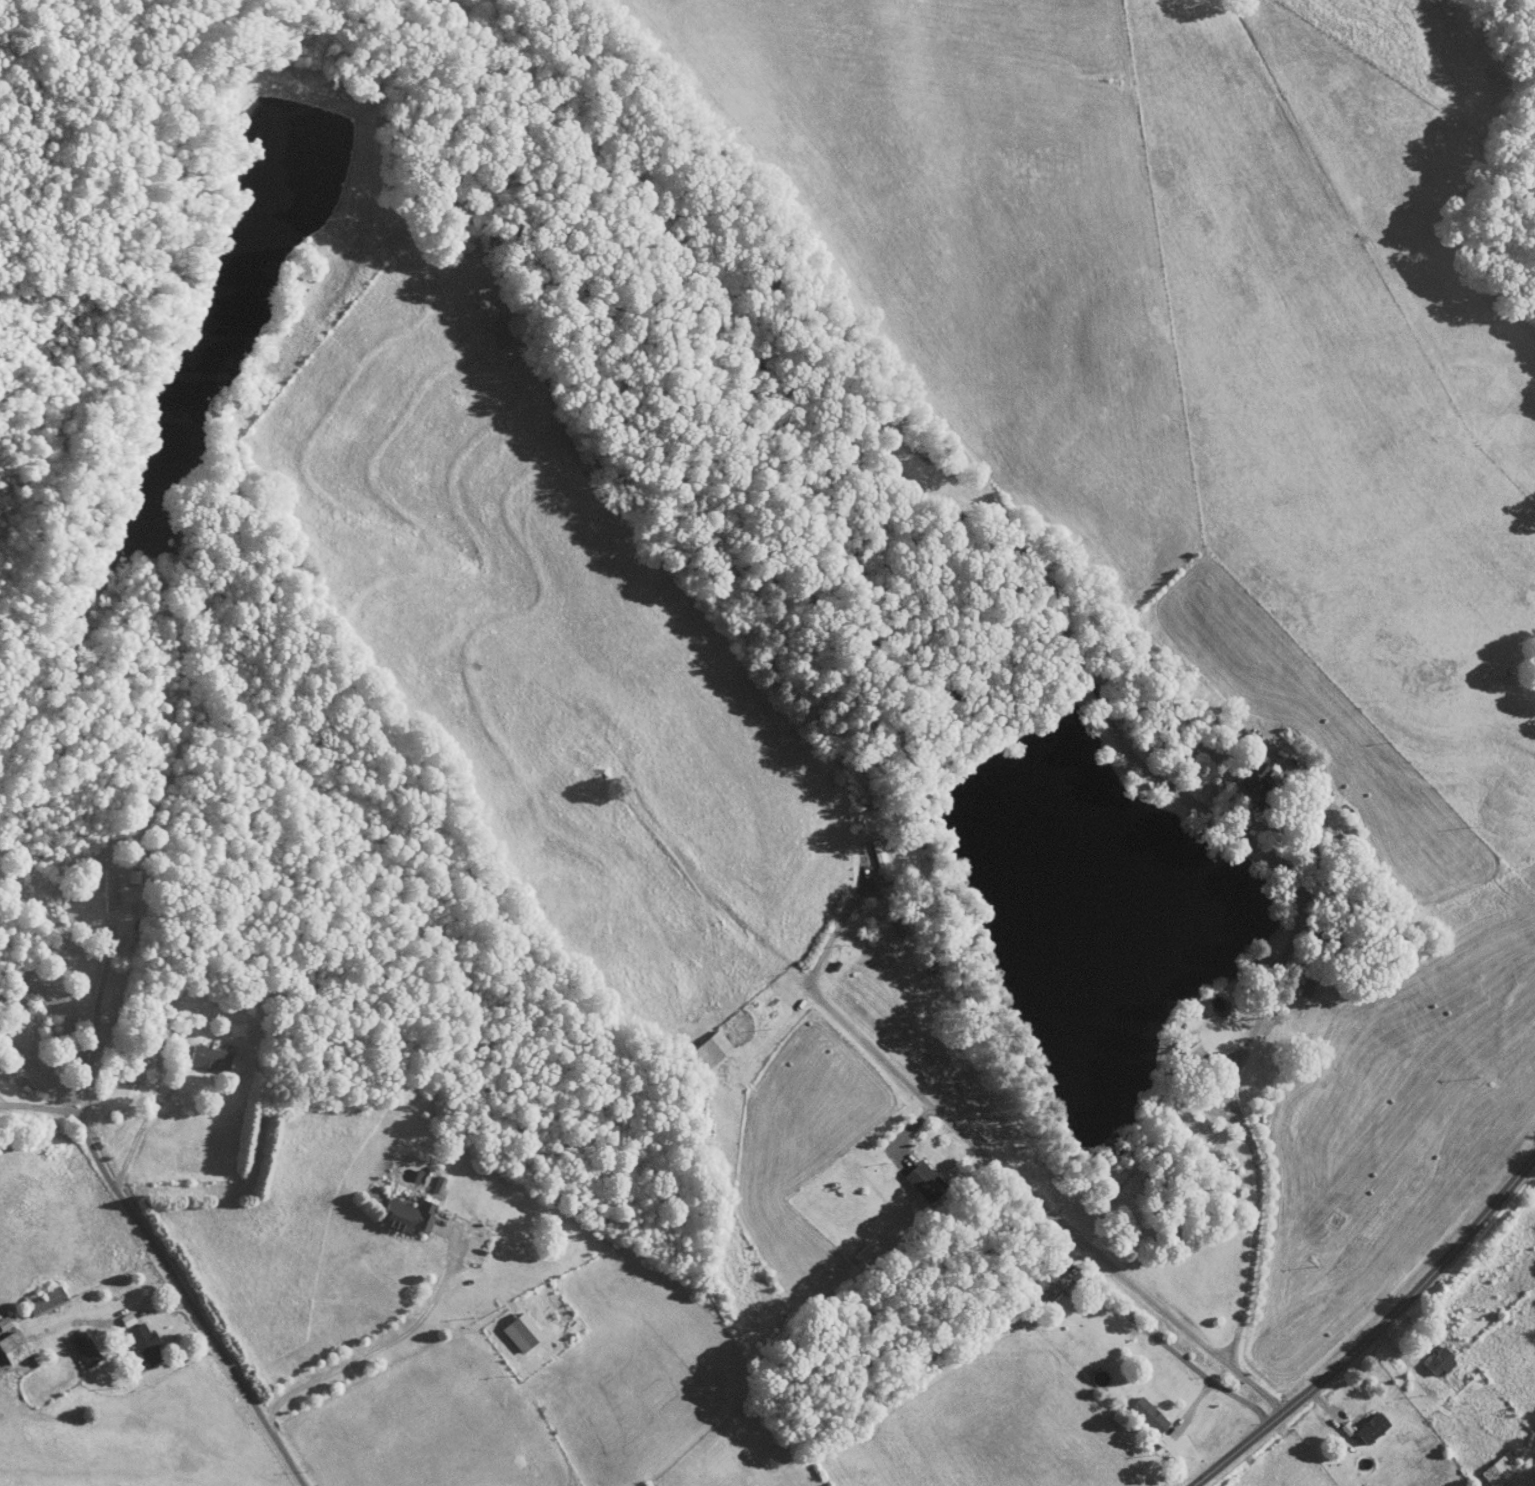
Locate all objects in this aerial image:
building: (1252, 775)
road: (1202, 809)
building: (879, 858)
building: (106, 889)
road: (96, 1026)
building: (710, 1048)
building: (207, 1057)
road: (1234, 1073)
road: (164, 1093)
road: (44, 1105)
road: (88, 1135)
road: (999, 1168)
building: (918, 1176)
building: (405, 1215)
building: (1060, 1258)
building: (1046, 1285)
building: (42, 1300)
road: (166, 1306)
road: (198, 1317)
building: (3, 1323)
building: (519, 1331)
road: (1374, 1332)
building: (142, 1343)
road: (387, 1343)
road: (1178, 1345)
building: (12, 1346)
building: (83, 1348)
road: (1403, 1349)
building: (1438, 1361)
road: (1357, 1383)
building: (1147, 1415)
building: (1370, 1427)
building: (1496, 1469)

